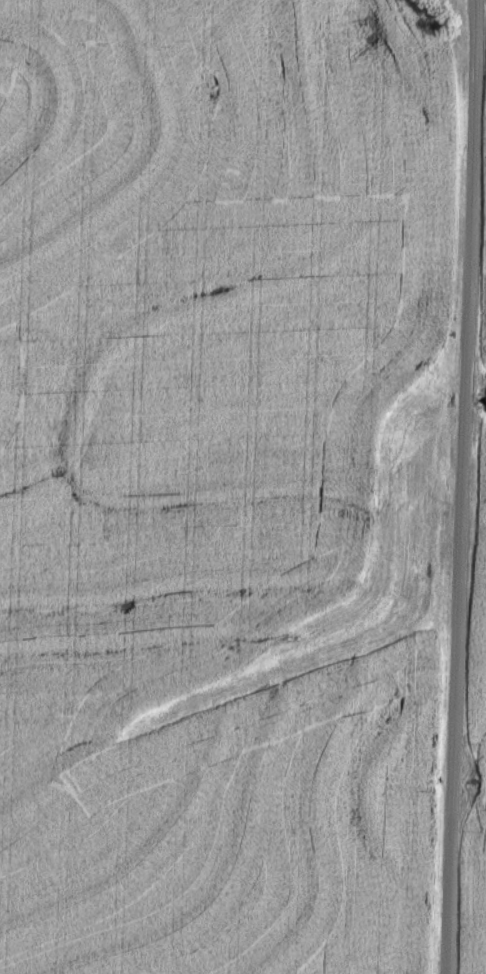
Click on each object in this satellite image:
road: (462, 487)

